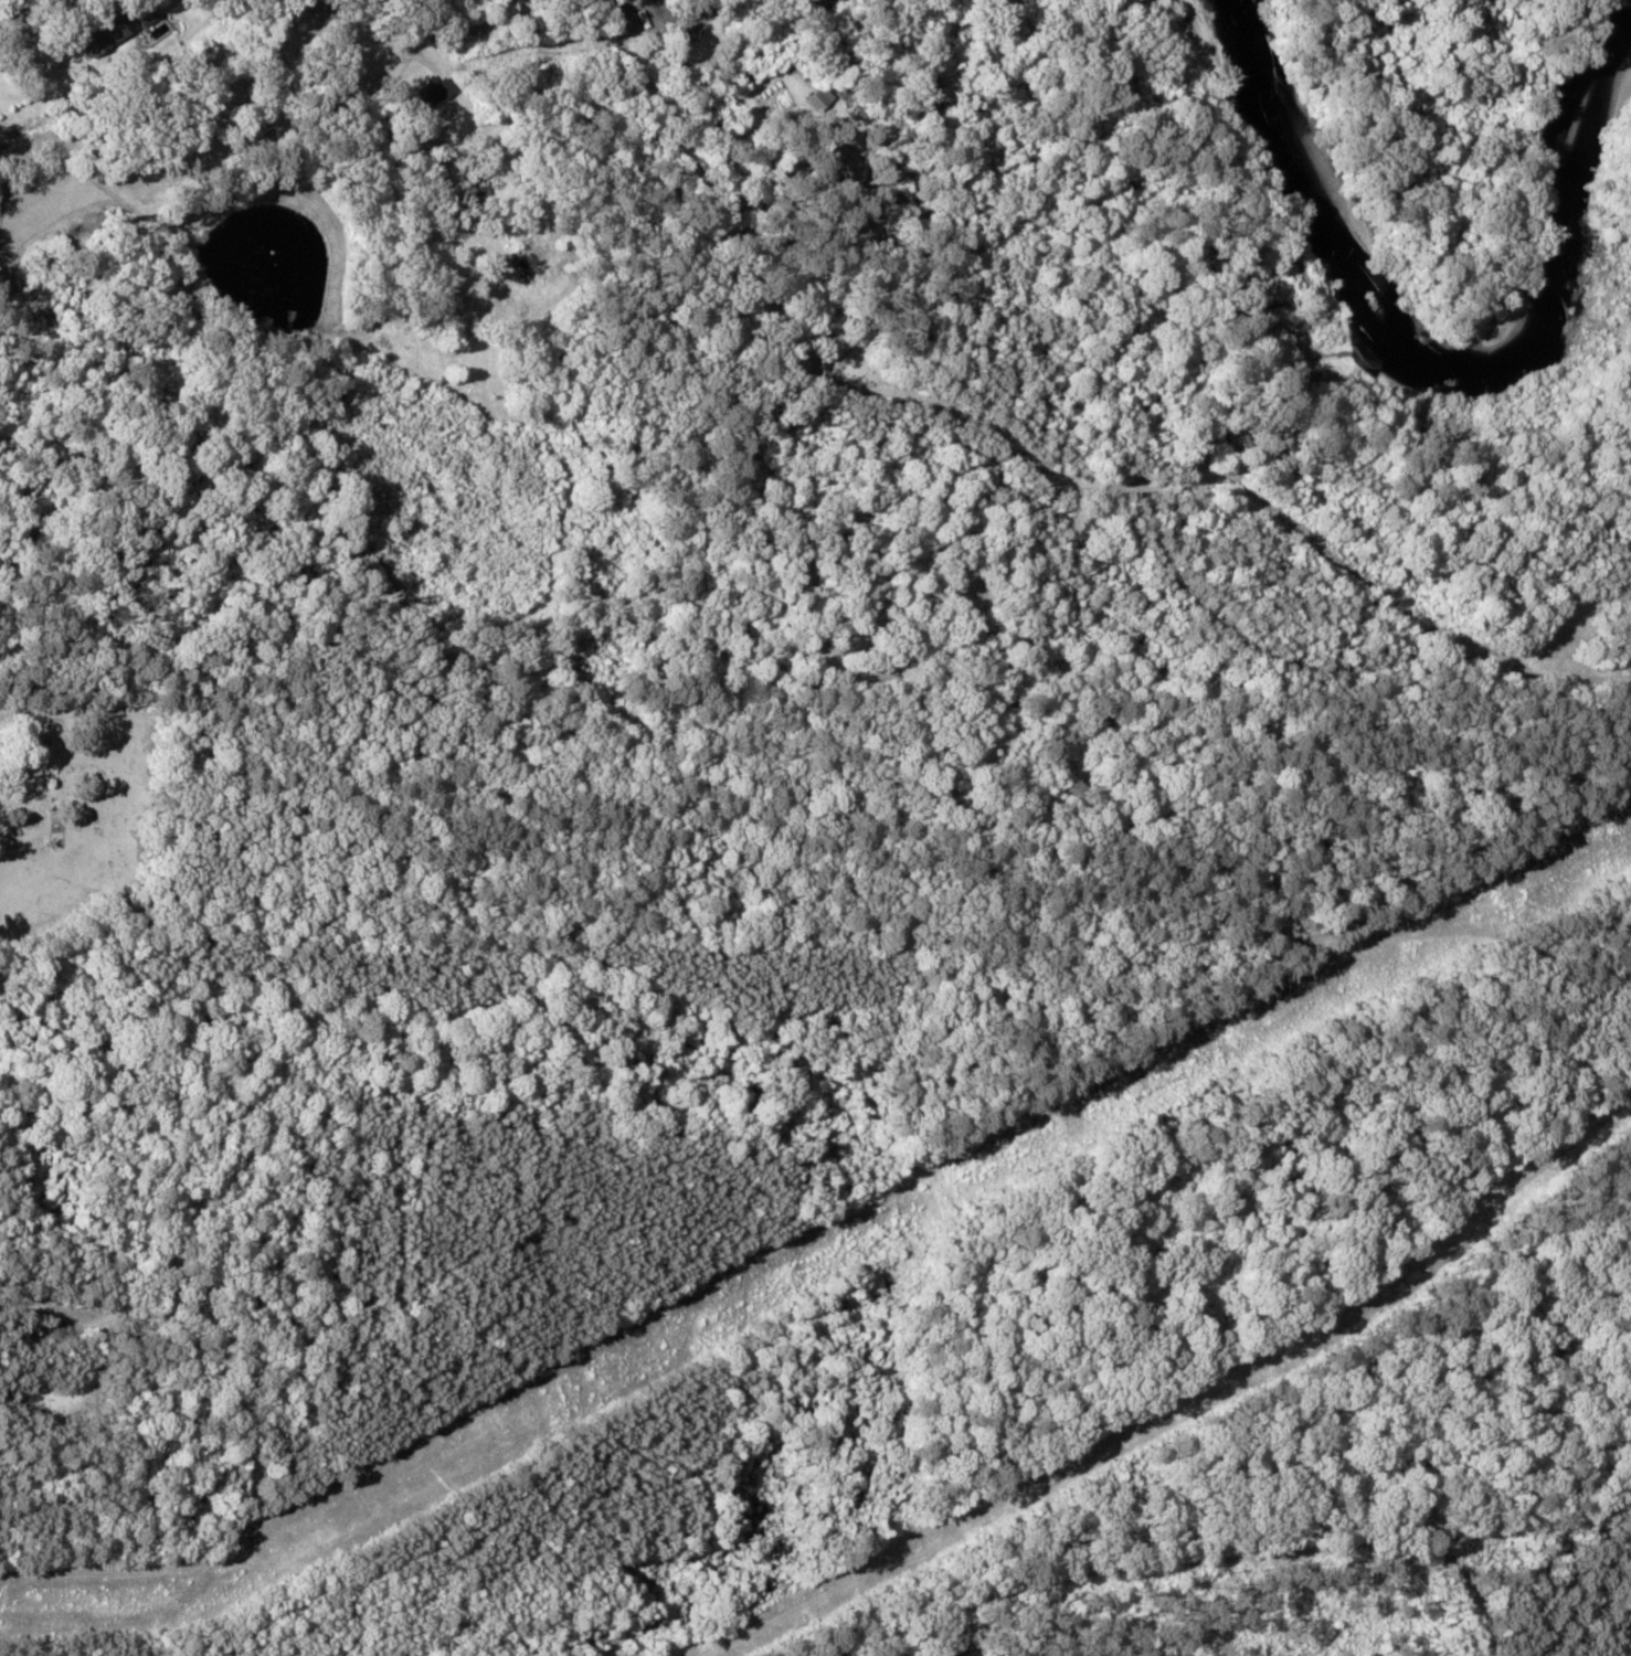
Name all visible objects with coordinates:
road: (23, 9)
building: (432, 93)
building: (822, 97)
road: (393, 109)
building: (849, 164)
road: (370, 187)

